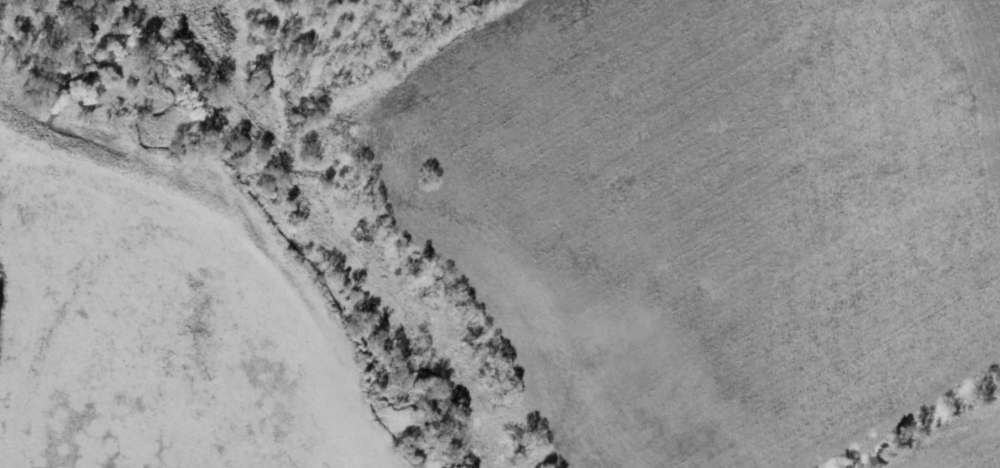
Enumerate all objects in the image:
road: (761, 236)

